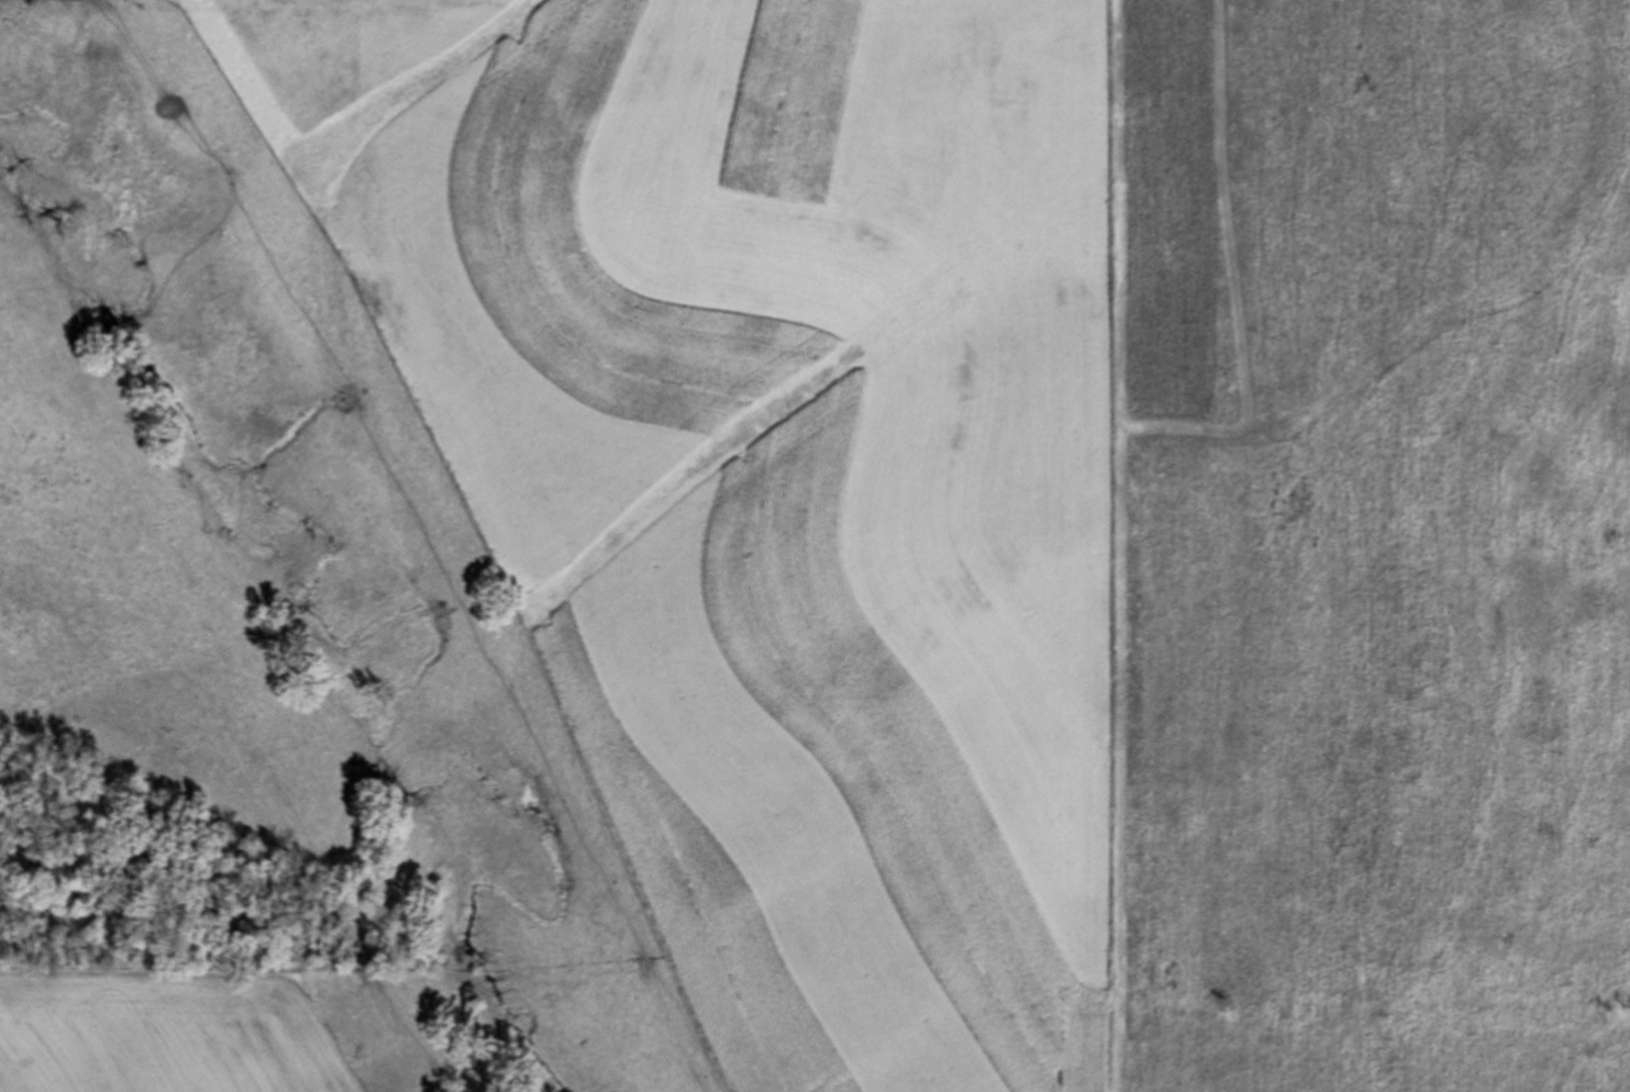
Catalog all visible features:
road: (1123, 546)

